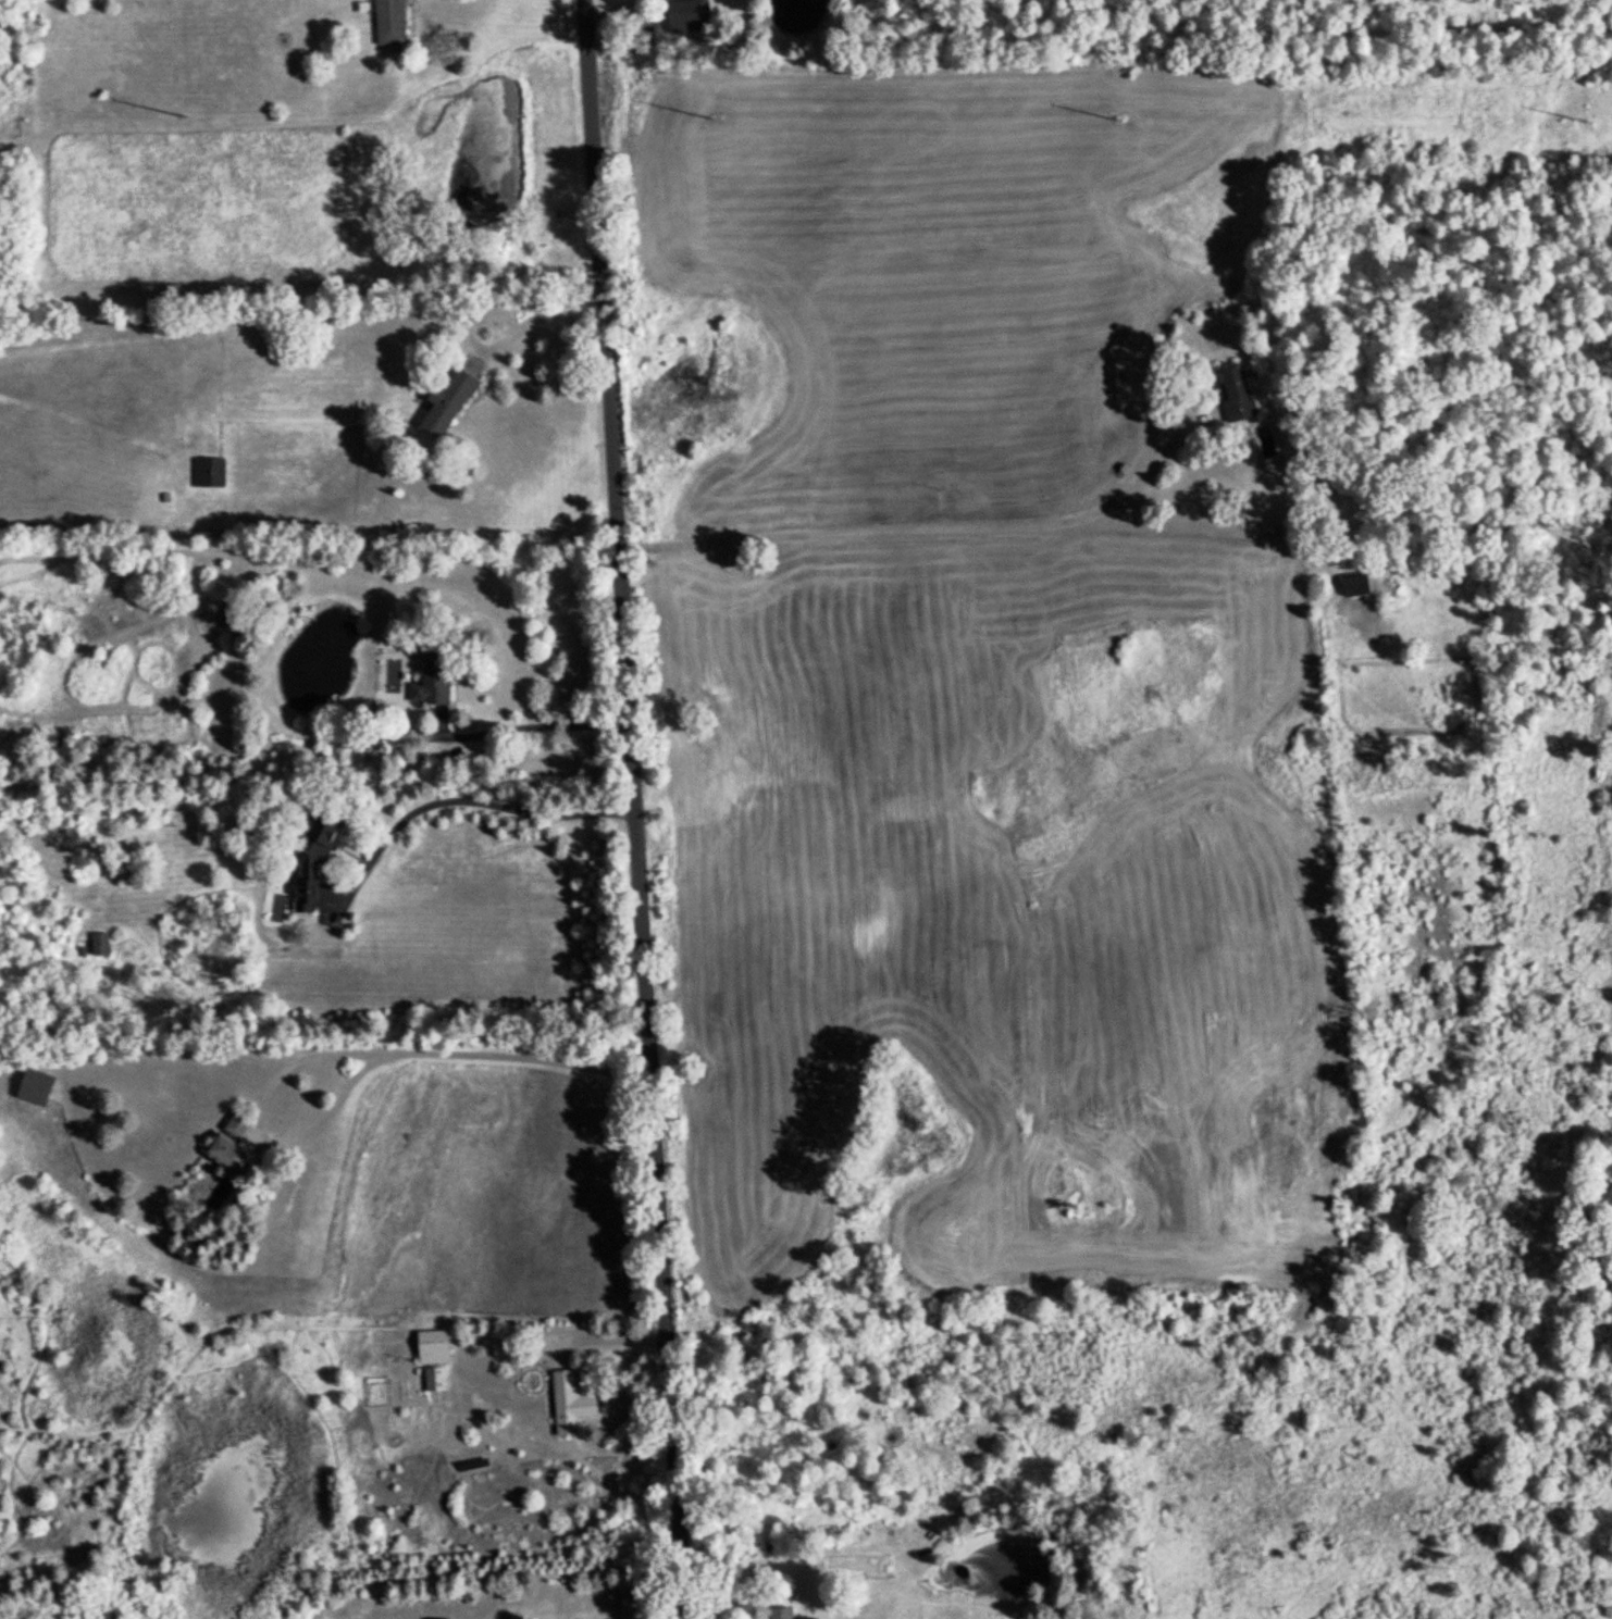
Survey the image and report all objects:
building: (687, 13)
building: (389, 21)
power tower: (718, 115)
power tower: (1120, 115)
power tower: (1594, 123)
power tower: (195, 124)
road: (548, 308)
building: (1236, 393)
building: (446, 400)
building: (208, 470)
road: (928, 528)
building: (1354, 582)
building: (231, 614)
building: (432, 678)
crop: (983, 700)
road: (534, 726)
road: (489, 801)
road: (635, 809)
building: (314, 857)
building: (99, 942)
road: (356, 1074)
building: (35, 1084)
building: (237, 1124)
building: (228, 1151)
road: (608, 1331)
building: (433, 1344)
building: (434, 1375)
building: (569, 1400)
building: (781, 1611)
building: (438, 1617)

